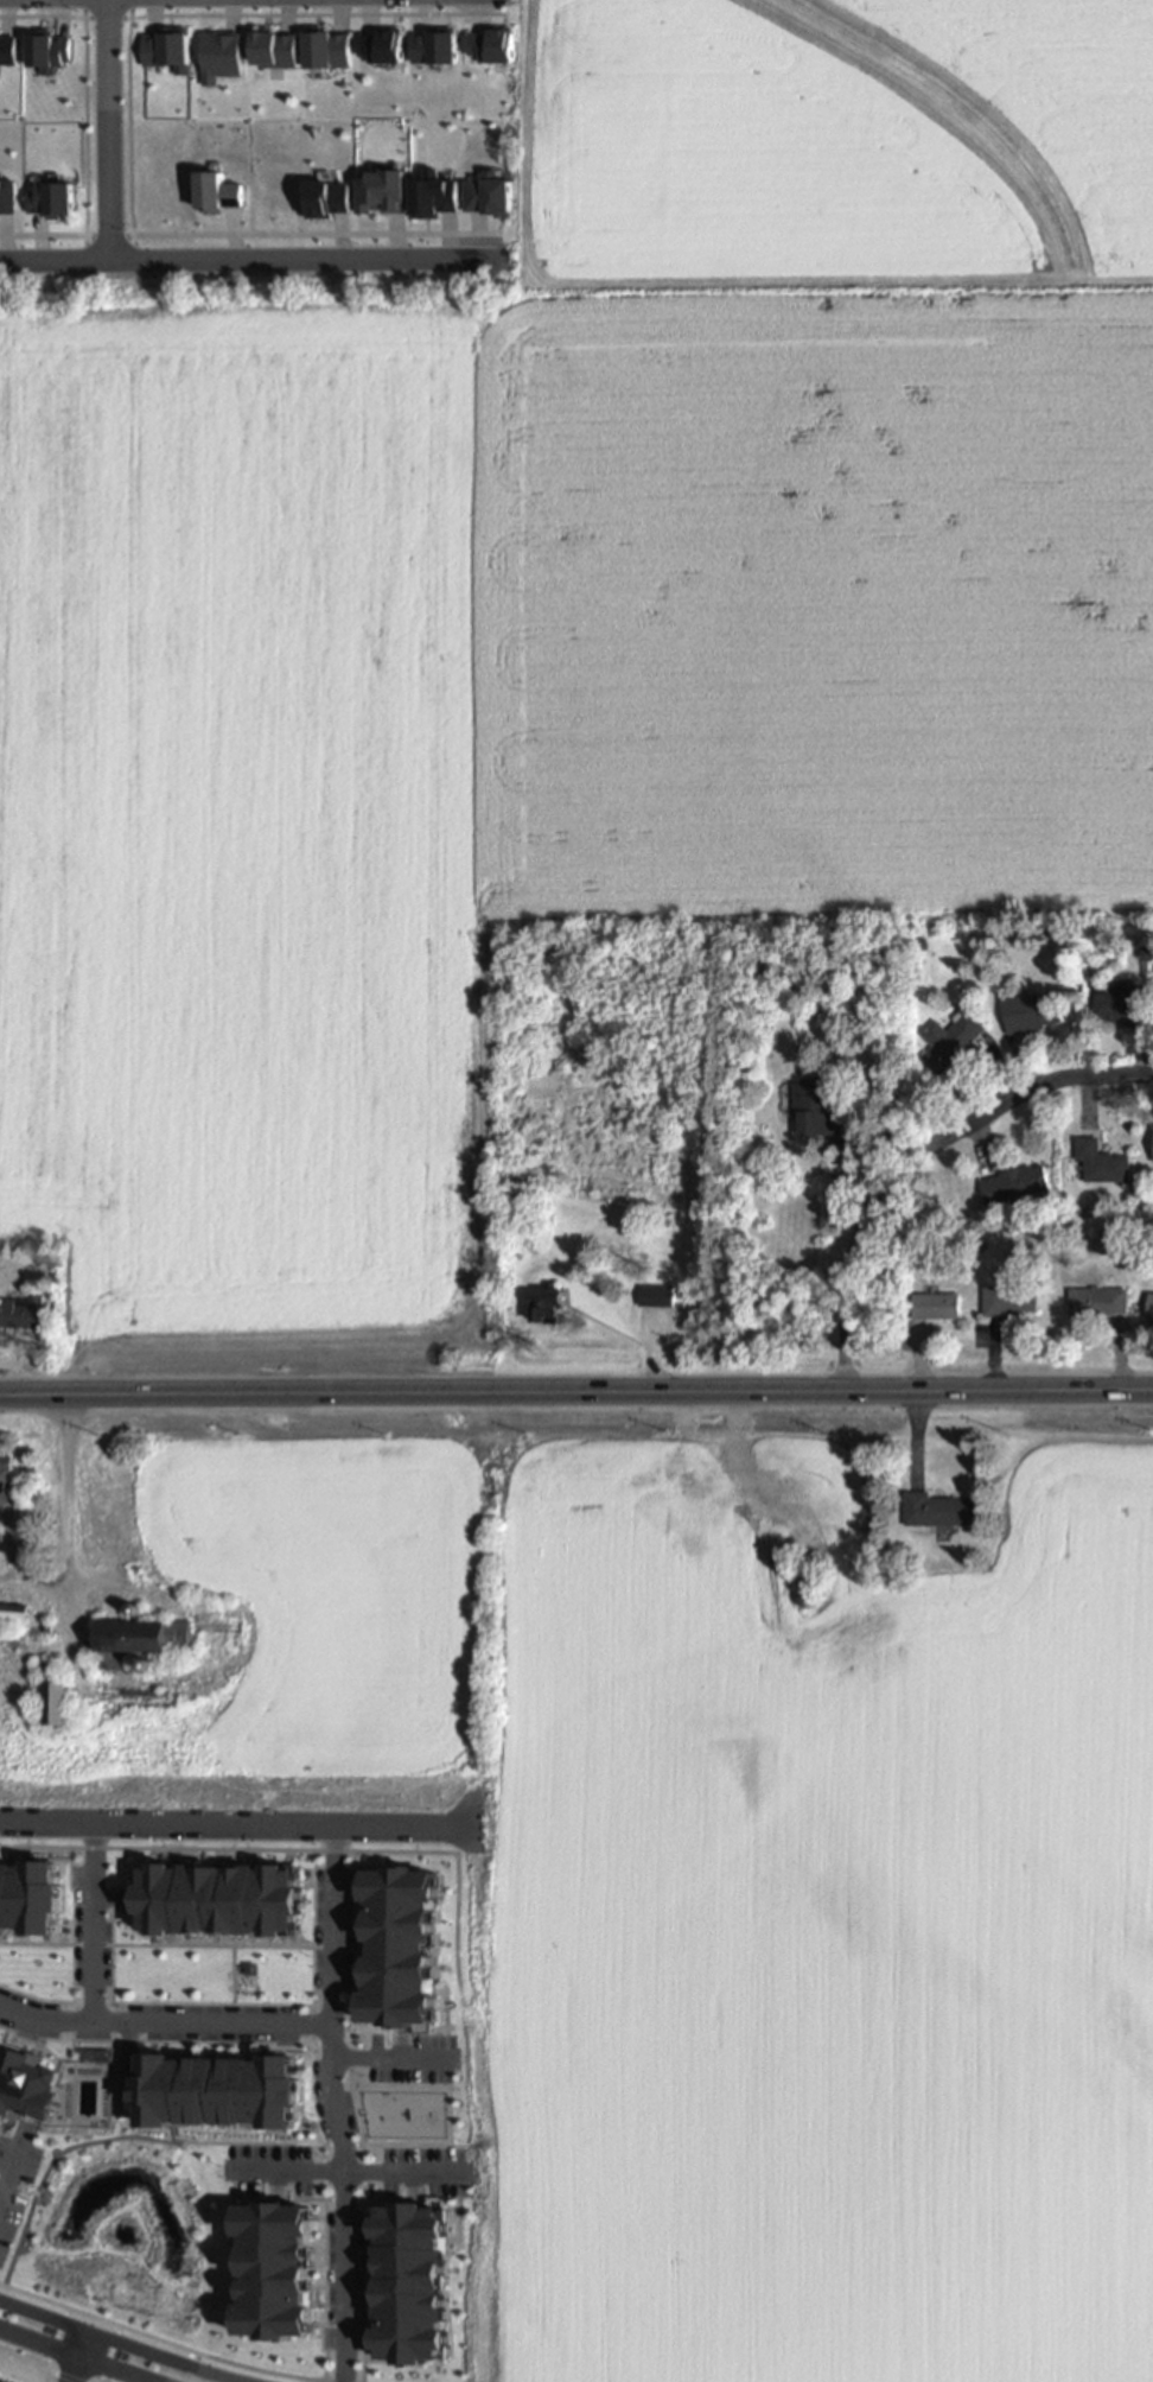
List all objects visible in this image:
road: (109, 128)
crop: (840, 145)
building: (382, 191)
building: (218, 192)
building: (434, 195)
building: (489, 195)
building: (8, 196)
building: (326, 198)
building: (52, 199)
road: (253, 258)
crop: (507, 714)
building: (1120, 1003)
building: (1031, 1015)
building: (950, 1042)
road: (1031, 1090)
building: (817, 1107)
building: (1101, 1162)
building: (1015, 1184)
road: (852, 1250)
building: (657, 1296)
building: (1011, 1301)
building: (1100, 1303)
building: (548, 1304)
building: (936, 1307)
building: (1151, 1308)
building: (24, 1310)
road: (575, 1392)
building: (7, 1481)
building: (938, 1511)
building: (808, 1568)
building: (810, 1600)
building: (14, 1614)
building: (139, 1643)
building: (58, 1704)
road: (237, 1818)
building: (28, 1900)
building: (215, 1903)
crop: (817, 1907)
road: (93, 1918)
building: (397, 1950)
road: (163, 2019)
building: (223, 2082)
building: (25, 2088)
road: (330, 2101)
parking lot: (263, 2165)
road: (279, 2170)
road: (11, 2171)
road: (395, 2171)
building: (269, 2279)
building: (406, 2288)
road: (43, 2319)
road: (98, 2320)
road: (51, 2338)
road: (39, 2344)
road: (107, 2355)
road: (77, 2359)
road: (164, 2359)
road: (24, 2361)
road: (112, 2370)
road: (45, 2376)
road: (60, 2376)
building: (6, 2380)

